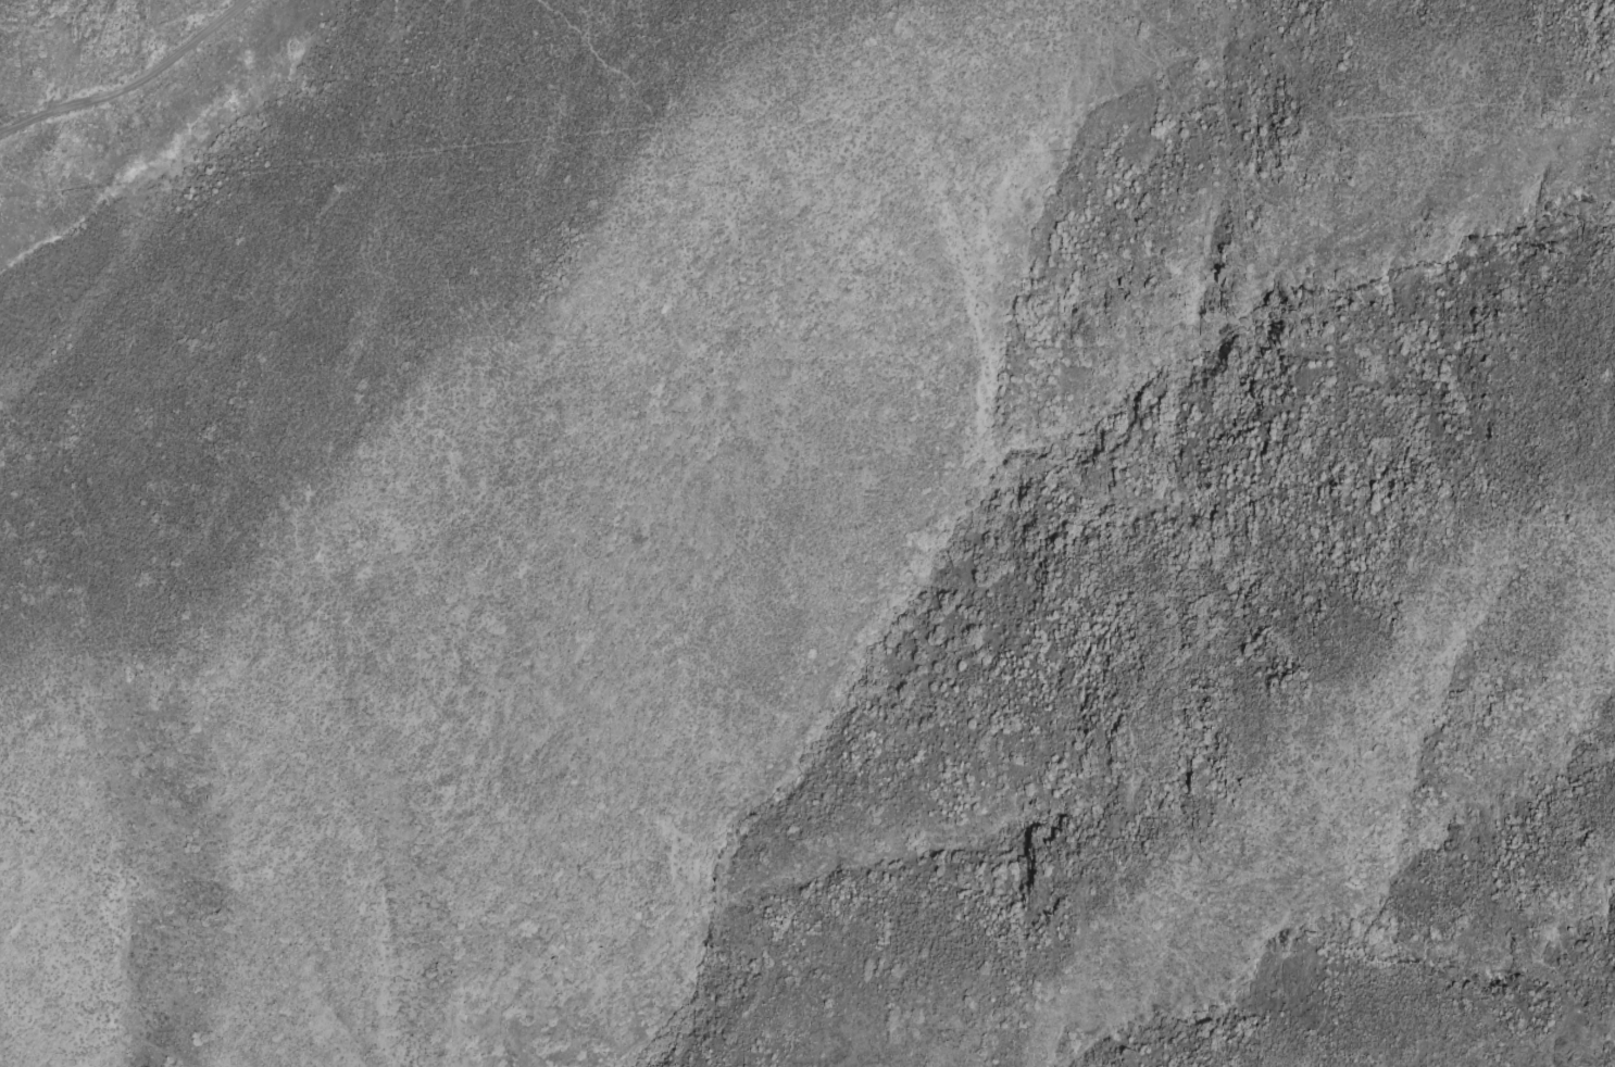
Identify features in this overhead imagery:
road: (128, 81)

